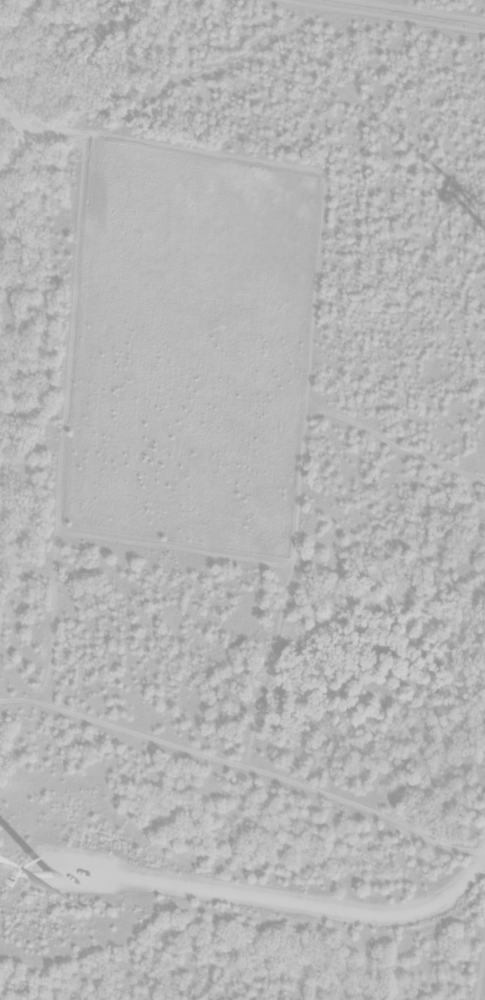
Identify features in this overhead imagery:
wind turbine: (51, 875)

